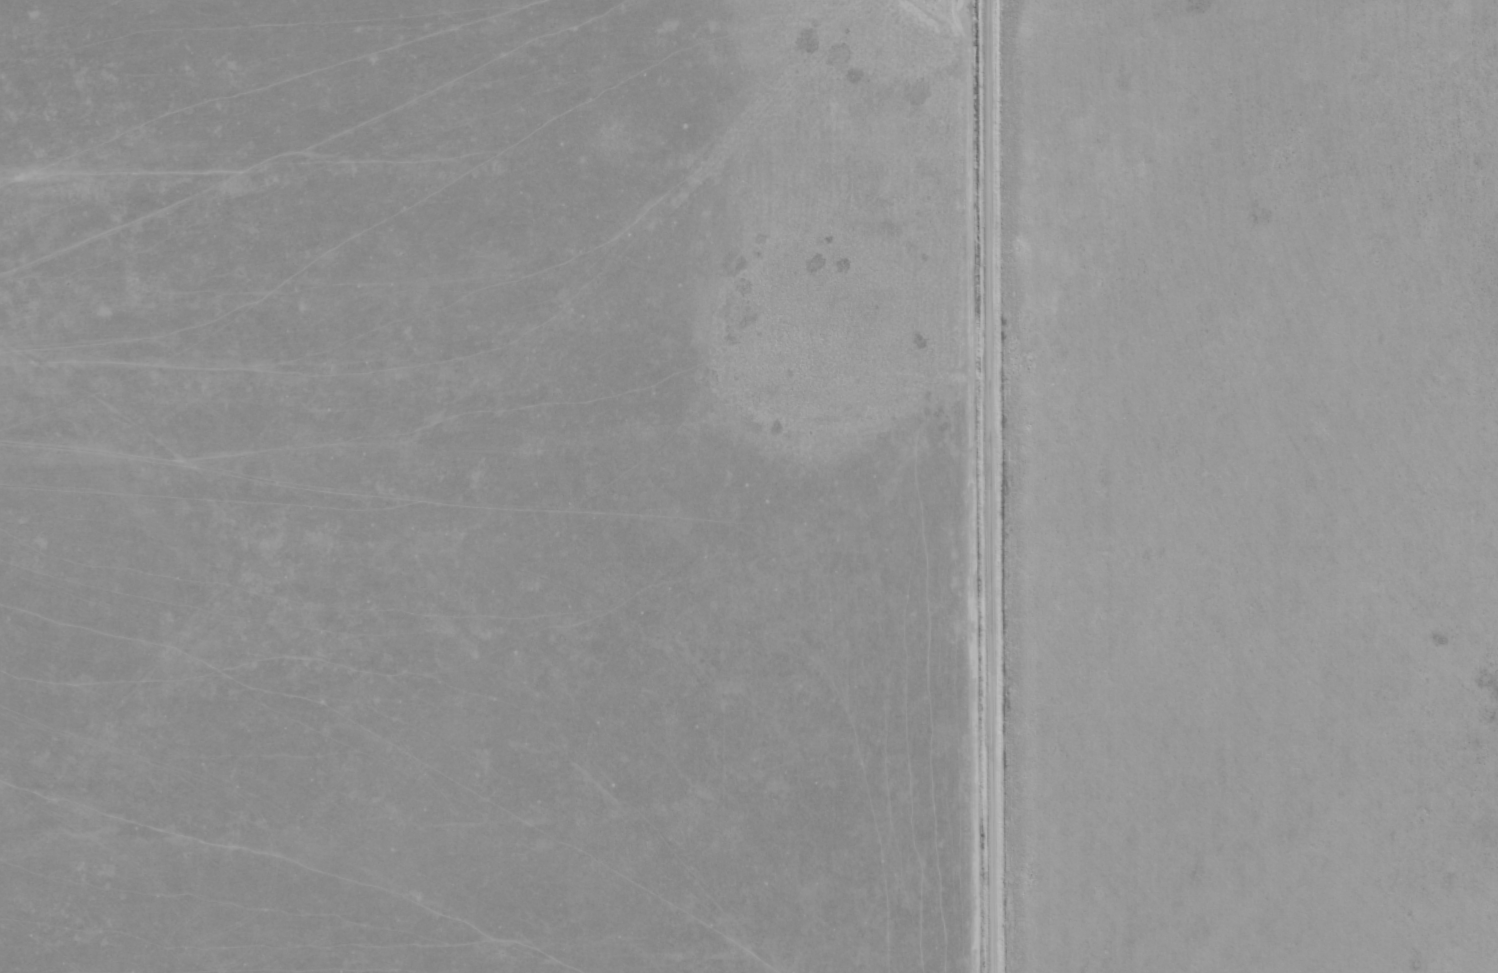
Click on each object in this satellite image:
road: (995, 486)

